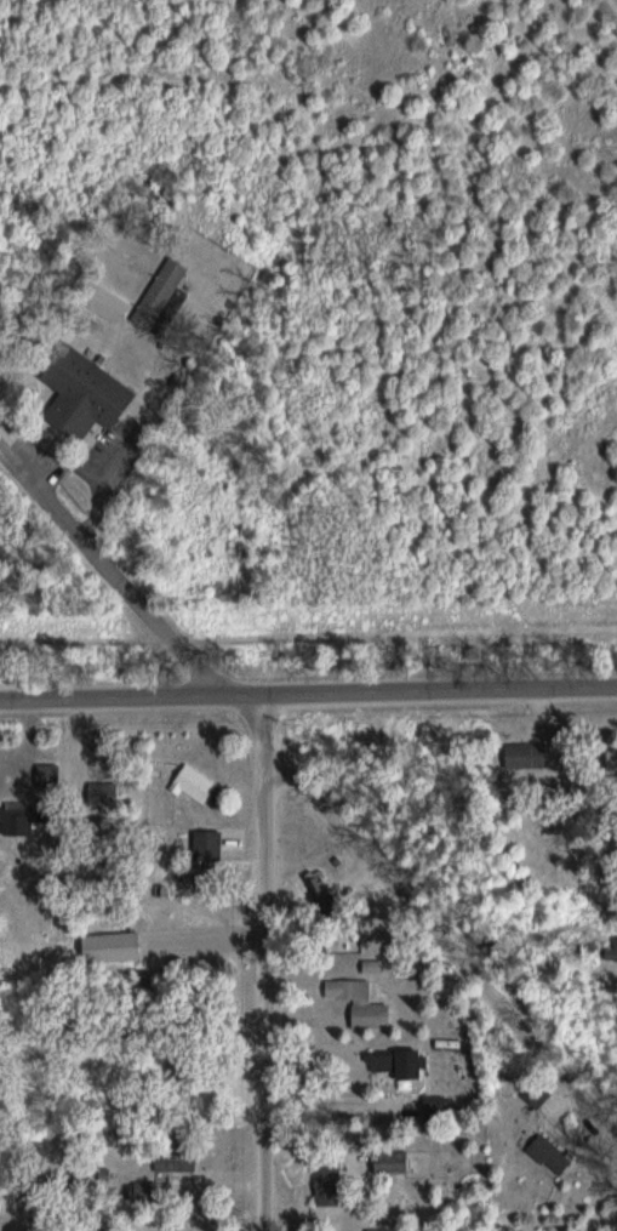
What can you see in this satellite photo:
building: (162, 293)
building: (87, 394)
road: (113, 571)
road: (308, 695)
building: (51, 774)
building: (196, 783)
building: (107, 793)
building: (27, 817)
road: (442, 946)
building: (116, 947)
road: (267, 963)
building: (148, 1193)
building: (385, 1230)

